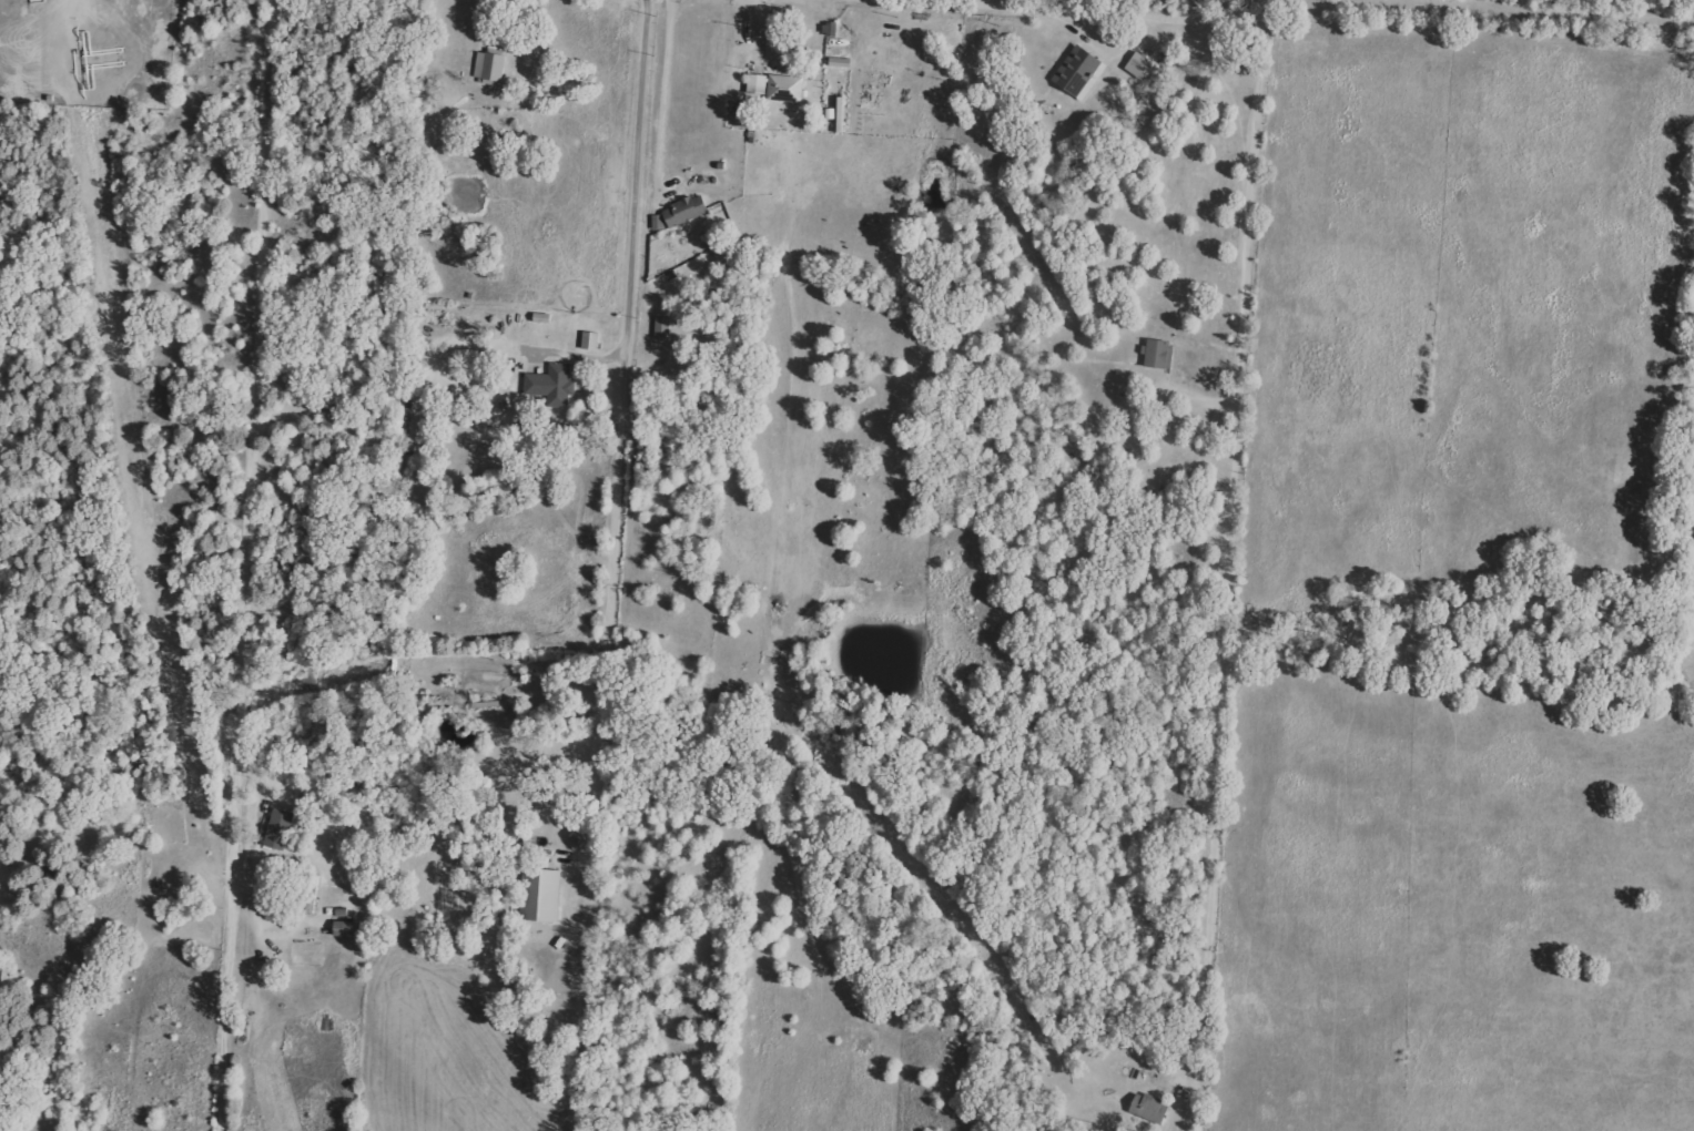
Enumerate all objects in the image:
road: (1107, 11)
building: (1139, 65)
building: (1076, 69)
building: (773, 88)
road: (666, 99)
building: (686, 211)
building: (657, 222)
building: (661, 327)
building: (589, 340)
building: (1155, 353)
building: (551, 384)
road: (622, 500)
road: (1233, 548)
road: (211, 564)
building: (278, 828)
building: (540, 895)
building: (1148, 1108)

